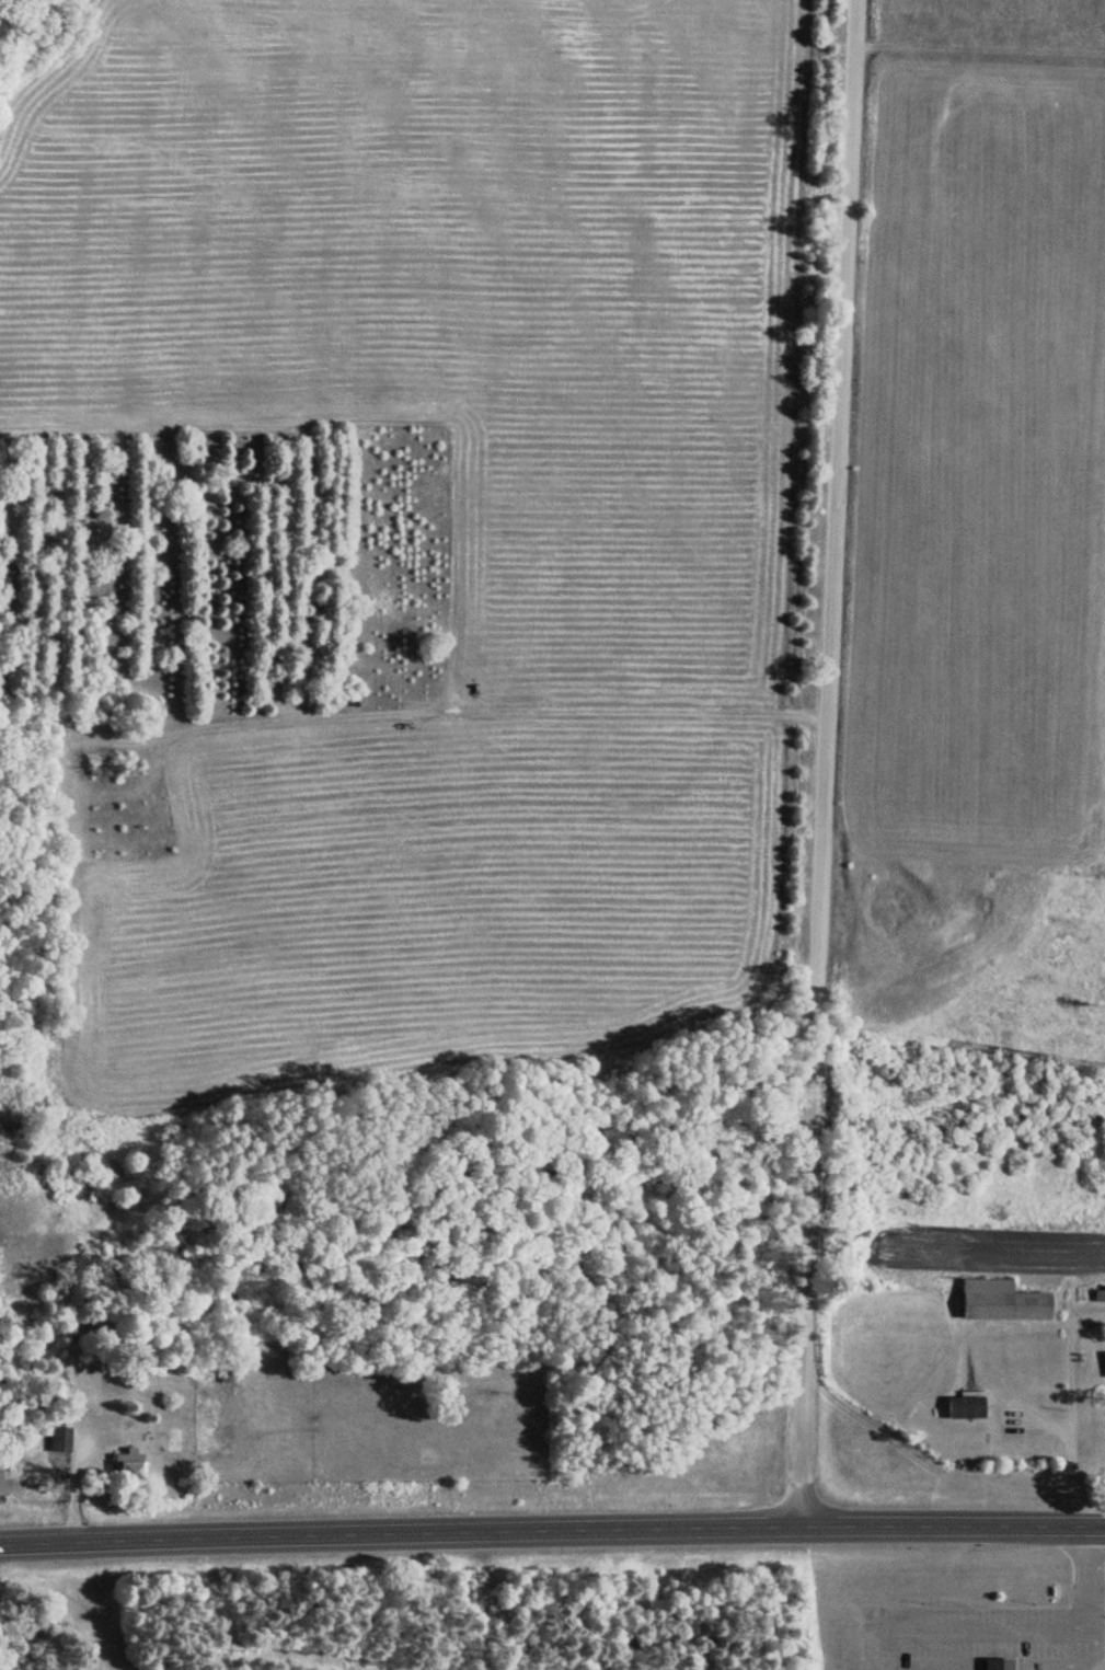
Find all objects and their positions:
crop: (980, 533)
crop: (617, 566)
road: (820, 763)
building: (1097, 1292)
building: (1000, 1300)
building: (1102, 1363)
building: (963, 1406)
building: (58, 1438)
building: (126, 1464)
road: (552, 1530)
building: (998, 1663)

